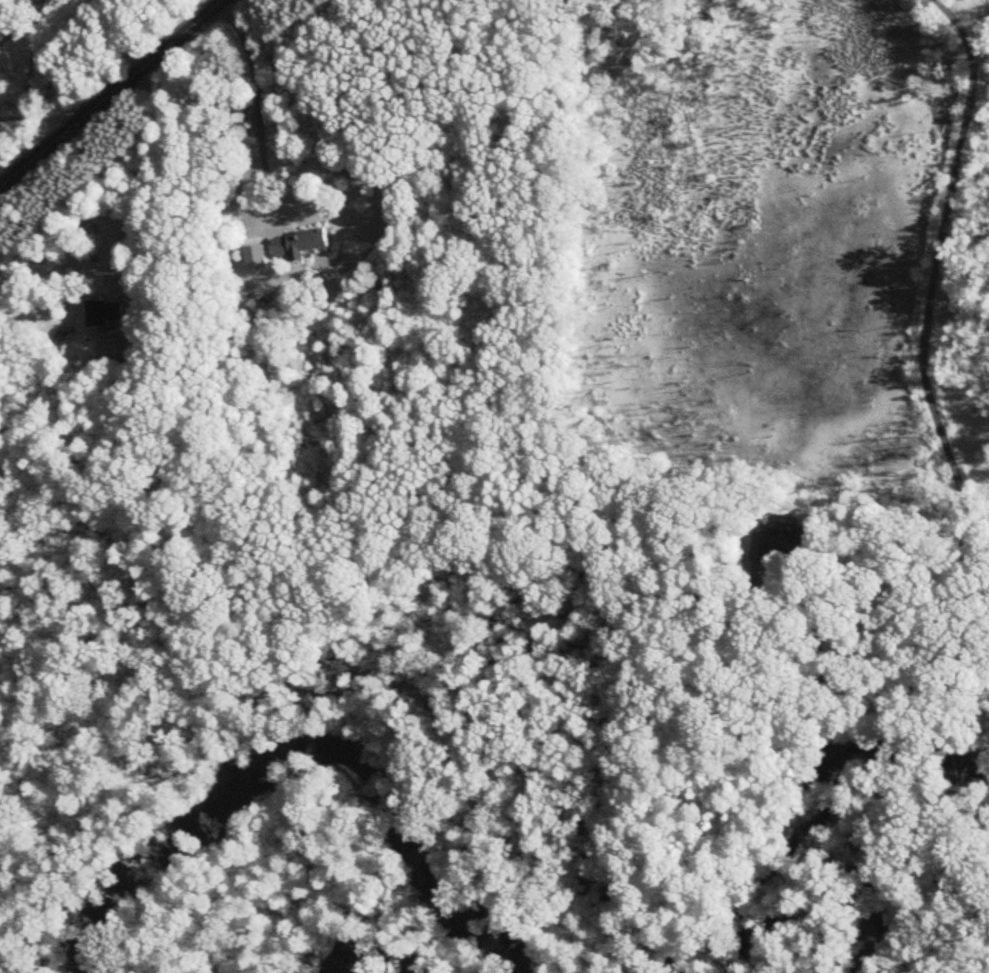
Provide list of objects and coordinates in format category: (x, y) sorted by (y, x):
road: (122, 37)
road: (112, 93)
road: (259, 102)
road: (117, 191)
building: (301, 244)
building: (105, 314)
road: (926, 386)
building: (778, 543)
road: (754, 606)
river: (318, 724)
river: (832, 792)

